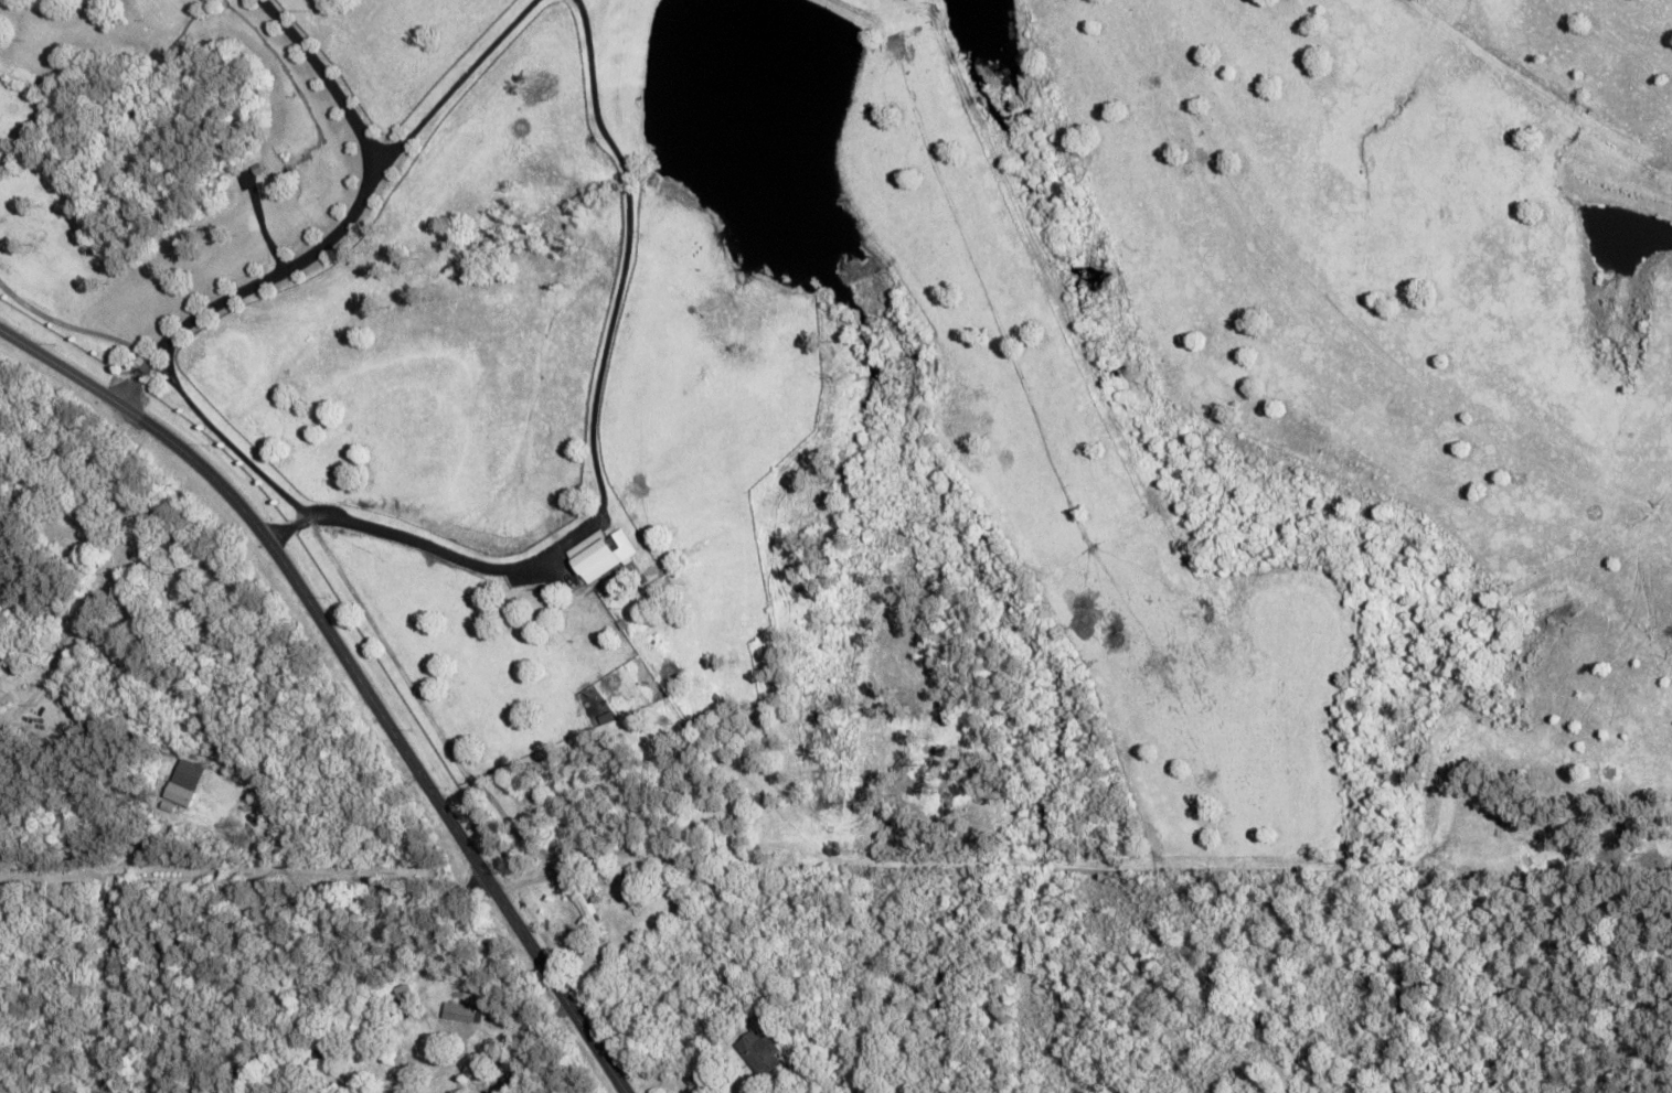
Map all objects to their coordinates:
building: (598, 553)
road: (354, 671)
building: (182, 781)
building: (460, 1011)
building: (757, 1051)
building: (480, 1092)

